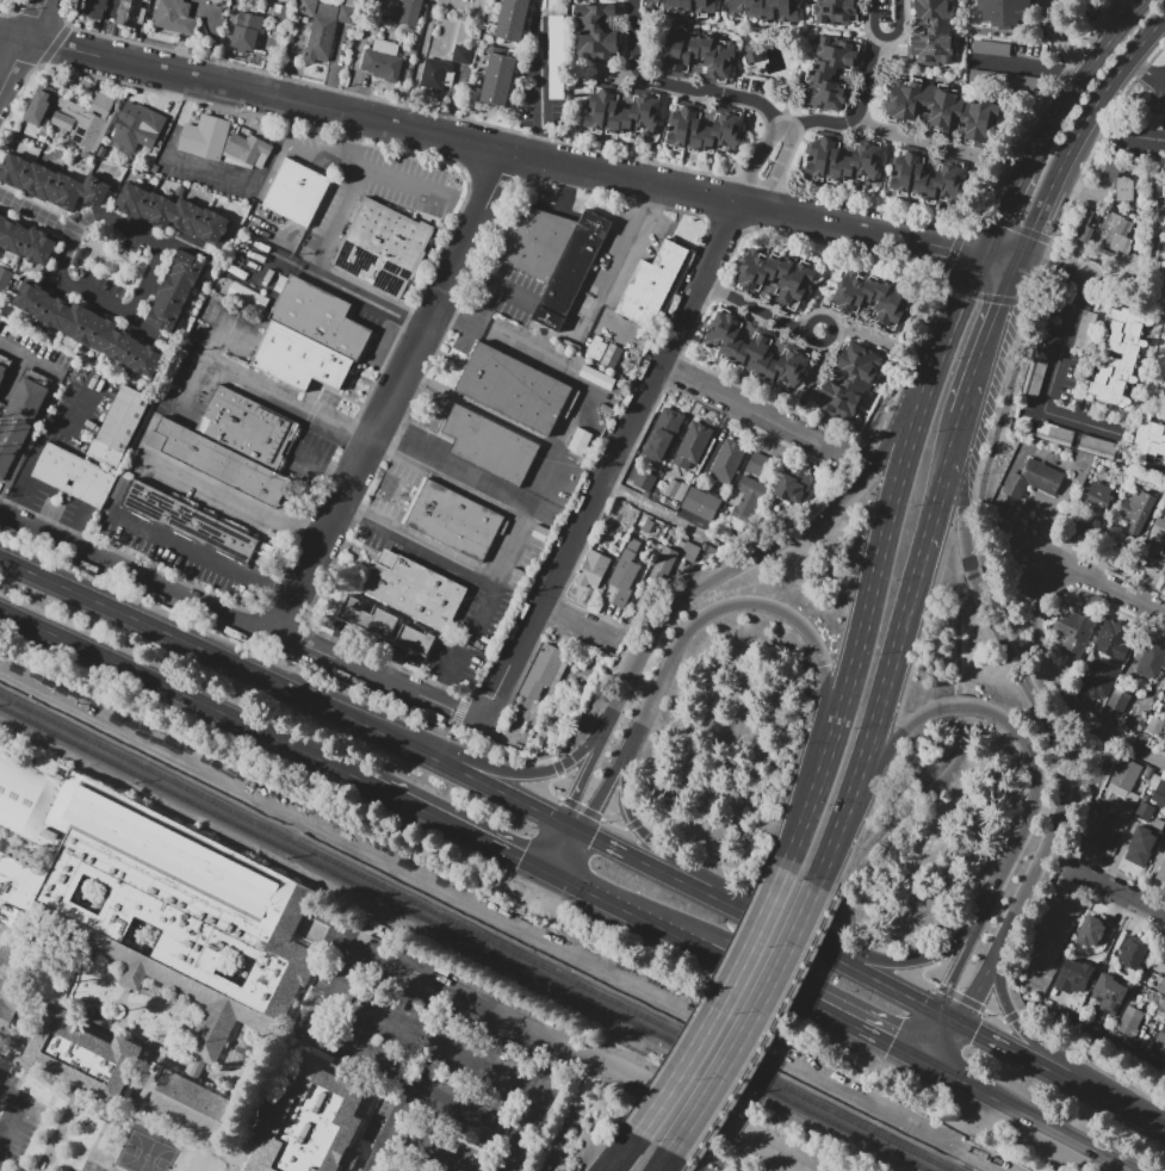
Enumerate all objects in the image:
building: (217, 0)
building: (225, 0)
building: (349, 2)
road: (377, 2)
building: (306, 7)
building: (687, 7)
building: (93, 8)
building: (475, 10)
building: (766, 10)
road: (16, 11)
building: (838, 11)
building: (131, 12)
building: (410, 12)
building: (1006, 12)
building: (280, 13)
building: (347, 14)
building: (174, 17)
road: (873, 18)
building: (513, 19)
road: (38, 20)
road: (898, 26)
building: (596, 30)
building: (247, 31)
building: (322, 33)
building: (934, 33)
road: (213, 37)
road: (1110, 37)
road: (227, 41)
road: (21, 45)
road: (54, 47)
road: (358, 48)
building: (991, 48)
parking lot: (991, 48)
parking lot: (1027, 48)
building: (752, 52)
building: (463, 54)
building: (699, 54)
building: (554, 57)
parking lot: (554, 57)
building: (383, 60)
road: (419, 61)
road: (335, 67)
road: (1025, 68)
building: (830, 73)
road: (1147, 73)
building: (434, 74)
road: (622, 74)
road: (867, 75)
building: (497, 79)
building: (1004, 79)
parking lot: (1004, 79)
road: (308, 82)
road: (680, 87)
road: (197, 88)
road: (541, 88)
road: (585, 88)
road: (587, 92)
road: (194, 99)
building: (38, 106)
building: (944, 109)
building: (619, 112)
road: (671, 113)
building: (91, 117)
road: (661, 119)
road: (1053, 119)
building: (62, 120)
road: (744, 120)
building: (1153, 120)
road: (663, 124)
building: (137, 126)
road: (1027, 129)
building: (702, 130)
road: (881, 130)
road: (1103, 134)
road: (1080, 135)
parking lot: (1140, 136)
building: (205, 137)
road: (801, 137)
road: (352, 138)
road: (1144, 140)
road: (602, 142)
road: (630, 147)
building: (247, 148)
road: (588, 148)
road: (507, 149)
building: (101, 150)
road: (614, 154)
road: (636, 157)
building: (1164, 157)
road: (683, 159)
road: (758, 160)
building: (841, 160)
road: (892, 160)
road: (186, 161)
road: (713, 162)
building: (131, 163)
road: (663, 163)
road: (880, 168)
road: (364, 169)
road: (967, 169)
building: (14, 171)
road: (696, 171)
road: (775, 171)
road: (884, 172)
road: (720, 176)
building: (927, 176)
building: (38, 181)
parking lot: (202, 181)
parking lot: (373, 185)
road: (760, 185)
building: (1118, 185)
road: (568, 187)
road: (823, 187)
road: (261, 190)
building: (93, 191)
building: (64, 192)
building: (296, 192)
road: (851, 193)
road: (805, 194)
building: (1161, 197)
road: (717, 199)
building: (132, 200)
road: (835, 200)
road: (907, 204)
road: (860, 206)
road: (768, 210)
building: (159, 211)
road: (677, 211)
road: (888, 211)
road: (932, 211)
road: (1003, 211)
road: (37, 216)
building: (186, 217)
road: (917, 217)
traffic signals: (1000, 217)
road: (331, 218)
building: (2, 221)
road: (726, 224)
building: (1083, 227)
building: (213, 228)
road: (764, 229)
building: (1117, 234)
building: (13, 236)
road: (180, 241)
road: (79, 242)
building: (537, 242)
road: (87, 243)
parking lot: (131, 244)
building: (39, 246)
building: (382, 248)
traffic signals: (948, 253)
road: (952, 255)
building: (78, 256)
road: (898, 256)
road: (129, 262)
building: (1163, 265)
road: (1029, 266)
traffic signals: (1047, 267)
building: (186, 268)
road: (465, 269)
building: (571, 271)
road: (1064, 272)
building: (775, 277)
building: (5, 279)
parking lot: (100, 283)
road: (423, 283)
building: (652, 284)
road: (813, 284)
road: (611, 285)
building: (227, 286)
road: (125, 289)
road: (346, 290)
road: (711, 290)
road: (142, 291)
building: (173, 291)
road: (1117, 291)
road: (512, 292)
building: (870, 296)
road: (985, 296)
building: (31, 297)
building: (219, 297)
road: (1149, 301)
traffic signals: (999, 304)
building: (54, 312)
building: (163, 315)
building: (318, 316)
road: (602, 321)
building: (78, 322)
road: (140, 326)
road: (789, 327)
building: (1085, 329)
road: (863, 330)
building: (99, 333)
road: (984, 337)
building: (589, 340)
building: (643, 340)
building: (570, 345)
building: (120, 346)
road: (438, 348)
building: (597, 348)
building: (756, 349)
building: (611, 355)
building: (1120, 355)
road: (207, 358)
building: (144, 359)
building: (298, 359)
building: (4, 365)
road: (673, 368)
road: (817, 368)
road: (13, 374)
building: (85, 376)
building: (1033, 376)
building: (95, 380)
building: (848, 380)
parking lot: (1068, 380)
road: (1054, 382)
road: (740, 384)
building: (515, 389)
road: (394, 391)
road: (1, 397)
road: (278, 397)
road: (4, 404)
road: (45, 404)
road: (5, 407)
road: (1133, 407)
road: (743, 409)
building: (20, 416)
road: (575, 416)
road: (64, 425)
building: (119, 426)
building: (246, 427)
building: (662, 433)
building: (1054, 433)
road: (642, 434)
road: (956, 434)
building: (75, 436)
building: (1151, 436)
road: (359, 438)
building: (580, 440)
building: (692, 445)
building: (488, 446)
building: (676, 446)
building: (1097, 447)
road: (712, 452)
road: (1134, 457)
road: (615, 458)
parking lot: (308, 459)
road: (312, 460)
building: (727, 460)
building: (221, 461)
building: (756, 464)
building: (55, 465)
building: (1102, 467)
road: (341, 475)
building: (688, 476)
road: (451, 478)
building: (1033, 478)
road: (900, 479)
building: (644, 481)
road: (4, 483)
road: (19, 483)
building: (91, 483)
building: (795, 484)
building: (676, 489)
building: (1097, 496)
parking lot: (42, 497)
building: (746, 497)
road: (236, 498)
building: (701, 503)
road: (938, 503)
road: (58, 506)
road: (349, 508)
road: (25, 509)
building: (1136, 510)
road: (659, 512)
parking lot: (73, 513)
road: (961, 513)
building: (613, 514)
building: (636, 514)
building: (452, 520)
building: (631, 521)
building: (188, 522)
building: (646, 526)
building: (704, 546)
building: (1154, 546)
road: (193, 549)
road: (428, 549)
building: (709, 550)
building: (689, 551)
parking lot: (178, 552)
road: (1028, 554)
building: (386, 558)
building: (665, 559)
building: (593, 568)
building: (625, 574)
road: (501, 578)
road: (705, 581)
road: (977, 587)
road: (1105, 588)
road: (285, 589)
road: (974, 589)
building: (416, 591)
road: (211, 594)
road: (556, 609)
road: (633, 613)
road: (241, 617)
road: (284, 617)
building: (367, 617)
road: (578, 622)
building: (1073, 631)
road: (346, 636)
road: (684, 636)
road: (330, 637)
building: (415, 640)
building: (1113, 640)
road: (535, 649)
road: (340, 650)
parking lot: (454, 651)
road: (898, 652)
road: (395, 656)
road: (223, 659)
building: (1151, 659)
road: (453, 667)
road: (389, 669)
building: (541, 670)
building: (1097, 679)
road: (1066, 683)
road: (441, 690)
road: (184, 695)
building: (1164, 696)
building: (1117, 699)
road: (955, 705)
road: (460, 711)
building: (1154, 725)
building: (1138, 727)
road: (903, 729)
building: (1144, 731)
building: (1164, 754)
road: (510, 772)
building: (1148, 772)
building: (1124, 774)
road: (1064, 781)
road: (808, 785)
road: (504, 792)
building: (1122, 792)
building: (1159, 794)
road: (1031, 804)
traffic signals: (570, 806)
building: (1110, 806)
building: (1126, 808)
road: (845, 820)
road: (452, 822)
building: (1158, 823)
road: (572, 826)
road: (638, 828)
building: (1103, 832)
building: (1120, 832)
building: (1141, 836)
traffic signals: (593, 837)
building: (1116, 838)
road: (550, 842)
road: (572, 854)
traffic signals: (521, 855)
road: (647, 862)
road: (550, 869)
building: (1160, 872)
road: (1117, 896)
building: (151, 902)
road: (801, 906)
road: (638, 913)
road: (1117, 927)
road: (1121, 928)
building: (1047, 931)
building: (1092, 931)
railway: (477, 933)
railway: (464, 938)
building: (1134, 953)
road: (1092, 956)
road: (837, 958)
road: (912, 960)
road: (1111, 966)
road: (74, 969)
building: (1074, 975)
road: (946, 990)
road: (124, 993)
building: (1108, 993)
building: (1133, 993)
building: (1159, 996)
road: (335, 997)
traffic signals: (943, 997)
road: (107, 1000)
road: (724, 1003)
road: (814, 1004)
road: (157, 1006)
building: (6, 1010)
road: (965, 1016)
road: (757, 1017)
road: (26, 1021)
building: (1129, 1021)
road: (774, 1028)
traffic signals: (977, 1029)
road: (1025, 1031)
building: (1160, 1035)
road: (1107, 1037)
road: (439, 1041)
traffic signals: (891, 1045)
road: (1023, 1053)
building: (85, 1058)
road: (275, 1062)
road: (185, 1066)
road: (636, 1084)
building: (191, 1103)
road: (253, 1104)
road: (1121, 1107)
road: (12, 1109)
road: (532, 1109)
road: (1023, 1114)
building: (314, 1123)
road: (386, 1129)
road: (1161, 1129)
park: (149, 1145)
road: (760, 1146)
road: (628, 1150)
road: (428, 1151)
parking lot: (813, 1155)
road: (670, 1157)
park: (140, 1159)
road: (695, 1163)
road: (373, 1169)

